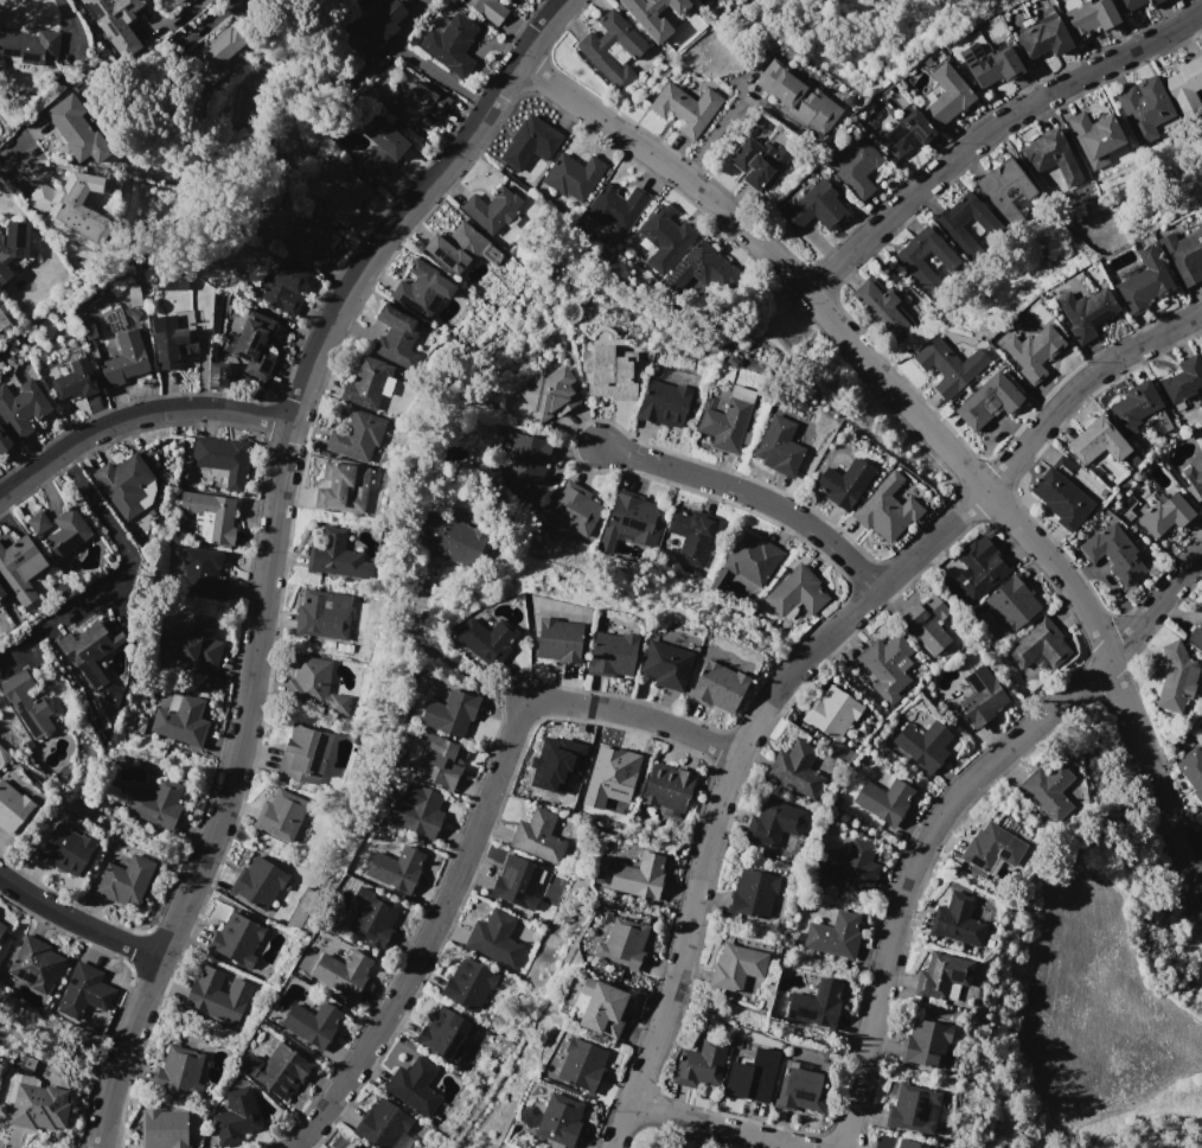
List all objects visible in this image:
building: (177, 1)
building: (1130, 4)
building: (490, 9)
road: (63, 13)
building: (652, 15)
building: (1089, 15)
building: (115, 21)
building: (376, 24)
building: (1042, 40)
building: (450, 44)
building: (27, 46)
building: (217, 53)
building: (595, 53)
road: (421, 60)
building: (993, 66)
building: (1185, 87)
building: (947, 95)
building: (795, 97)
building: (420, 102)
building: (685, 107)
building: (1144, 107)
road: (723, 116)
building: (75, 130)
road: (989, 132)
building: (906, 133)
building: (1096, 138)
building: (530, 142)
building: (383, 148)
building: (1051, 155)
road: (8, 159)
building: (755, 160)
building: (853, 167)
building: (574, 176)
building: (1005, 189)
building: (68, 192)
building: (344, 194)
building: (616, 205)
building: (491, 208)
building: (816, 208)
building: (952, 222)
building: (88, 234)
building: (13, 237)
building: (309, 240)
building: (663, 240)
building: (454, 247)
building: (1182, 255)
building: (907, 261)
building: (699, 272)
building: (168, 281)
building: (1143, 281)
building: (282, 286)
building: (423, 288)
building: (882, 311)
building: (1085, 312)
building: (2, 320)
building: (397, 337)
building: (172, 346)
building: (252, 347)
building: (1032, 351)
building: (1201, 352)
building: (122, 359)
building: (945, 366)
building: (609, 372)
building: (216, 375)
building: (73, 381)
building: (1182, 381)
building: (369, 383)
building: (550, 393)
building: (985, 402)
building: (663, 403)
building: (1134, 404)
building: (20, 407)
road: (134, 415)
road: (923, 423)
building: (723, 426)
building: (356, 435)
building: (1095, 441)
building: (4, 442)
building: (778, 447)
building: (526, 458)
building: (222, 460)
building: (1194, 474)
building: (122, 483)
building: (842, 483)
building: (345, 486)
road: (749, 495)
building: (524, 496)
building: (1059, 497)
building: (576, 508)
building: (884, 509)
building: (210, 512)
building: (1163, 515)
building: (631, 521)
building: (36, 522)
building: (64, 532)
building: (688, 535)
building: (450, 538)
road: (121, 544)
road: (268, 546)
building: (330, 551)
building: (1112, 554)
building: (752, 557)
building: (18, 562)
building: (974, 567)
building: (202, 573)
building: (795, 589)
building: (1, 593)
building: (1010, 602)
building: (1200, 602)
building: (321, 616)
building: (928, 621)
building: (484, 636)
building: (558, 636)
building: (1195, 636)
road: (25, 637)
building: (194, 648)
building: (1040, 648)
building: (84, 650)
building: (610, 653)
road: (434, 655)
road: (801, 658)
building: (666, 663)
building: (888, 664)
building: (1174, 681)
building: (308, 682)
building: (716, 683)
building: (974, 694)
building: (27, 706)
building: (448, 712)
building: (830, 712)
building: (180, 723)
building: (923, 745)
building: (302, 758)
building: (555, 758)
building: (440, 761)
building: (615, 764)
building: (794, 767)
building: (1191, 771)
building: (667, 784)
building: (1050, 789)
building: (882, 801)
road: (947, 806)
building: (155, 808)
building: (11, 809)
building: (415, 810)
building: (772, 818)
building: (280, 819)
building: (538, 834)
road: (472, 838)
building: (989, 850)
building: (62, 852)
road: (1194, 855)
building: (394, 865)
building: (850, 865)
building: (639, 873)
building: (517, 880)
building: (122, 886)
building: (257, 888)
building: (752, 893)
building: (957, 917)
building: (373, 920)
road: (76, 926)
building: (0, 929)
building: (832, 935)
building: (494, 937)
building: (624, 940)
building: (234, 945)
building: (734, 967)
building: (33, 968)
building: (341, 975)
building: (939, 975)
building: (468, 983)
park: (1093, 996)
building: (209, 1001)
building: (82, 1002)
building: (816, 1003)
building: (602, 1009)
building: (311, 1025)
building: (440, 1032)
building: (925, 1040)
building: (697, 1061)
building: (581, 1064)
building: (279, 1071)
building: (178, 1073)
building: (753, 1074)
building: (414, 1085)
building: (798, 1089)
road: (1149, 1089)
building: (912, 1105)
building: (34, 1111)
building: (560, 1117)
building: (235, 1120)
road: (723, 1123)
building: (382, 1125)
building: (161, 1130)
building: (906, 1142)
building: (350, 1146)
building: (353, 1146)
building: (658, 1146)

